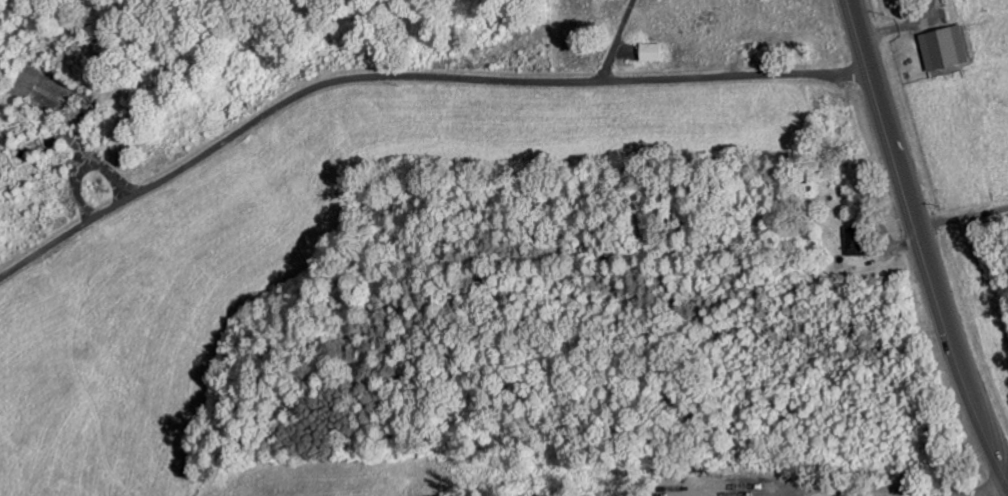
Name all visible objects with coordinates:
building: (940, 51)
building: (646, 55)
road: (407, 79)
road: (961, 219)
road: (919, 243)
building: (851, 244)

